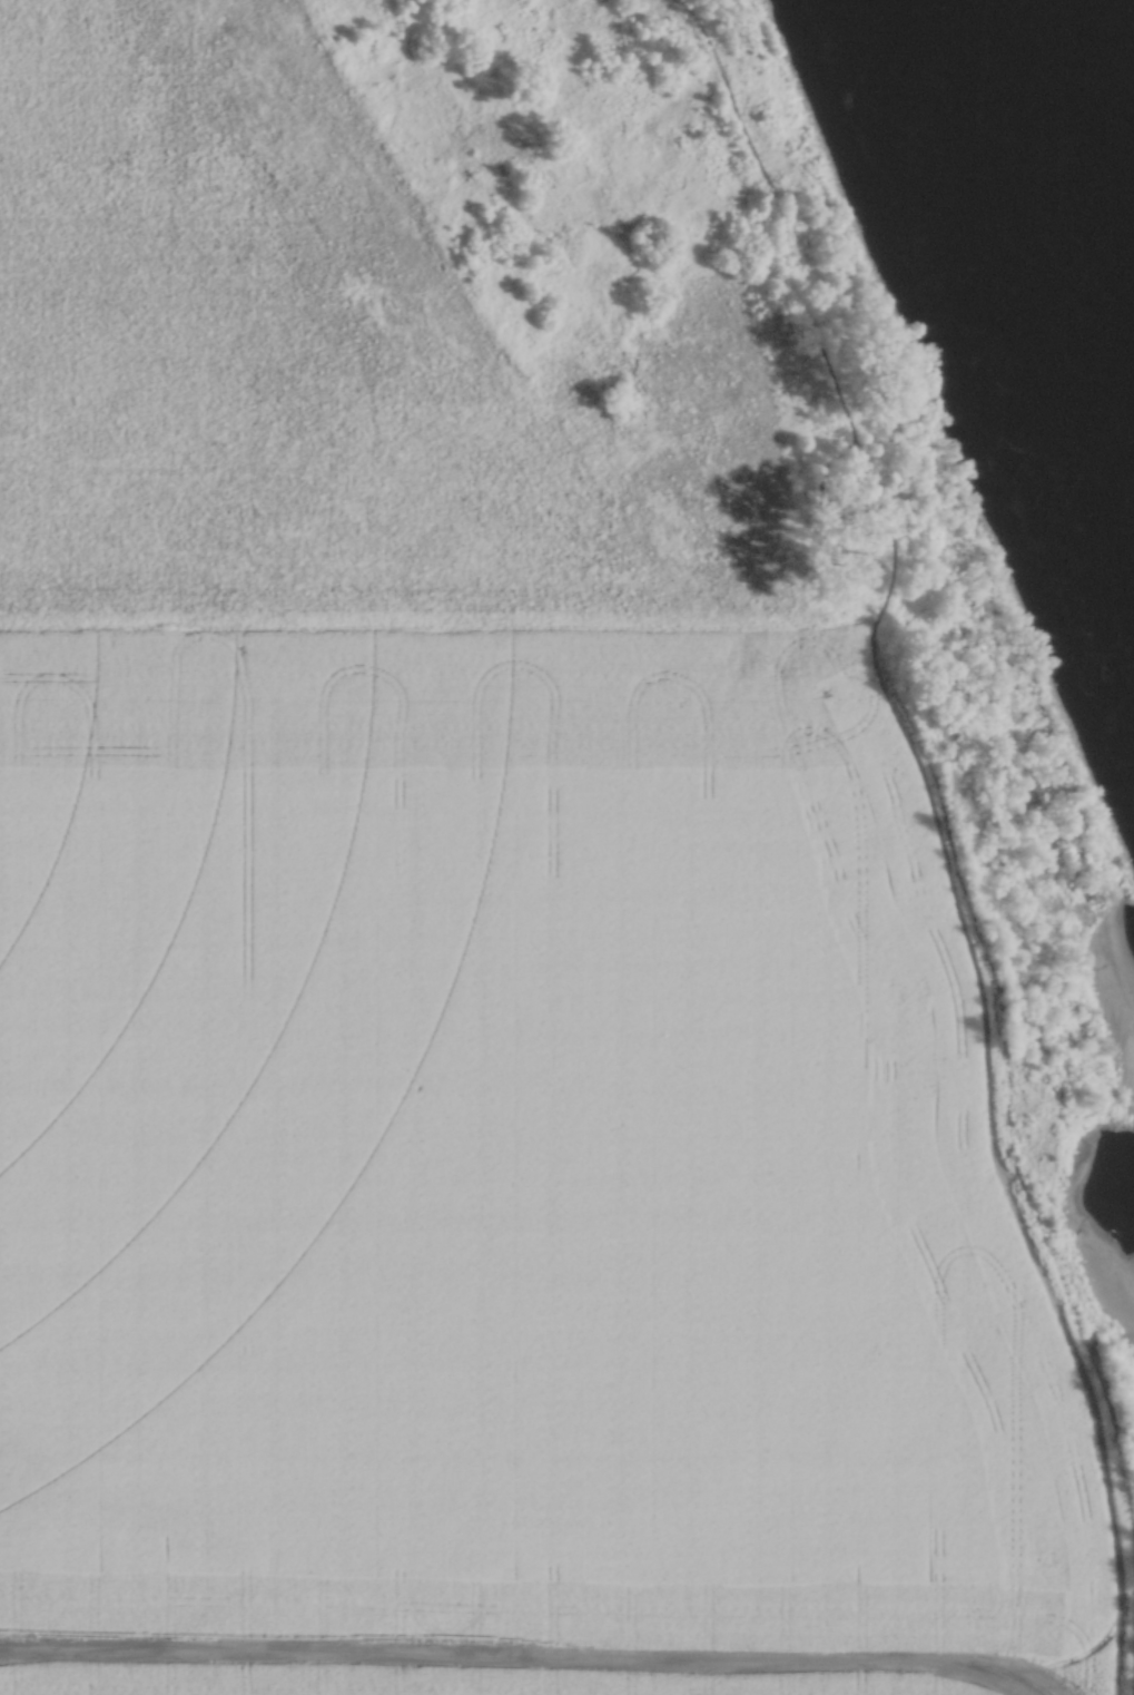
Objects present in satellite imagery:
river: (1076, 137)
road: (921, 723)

